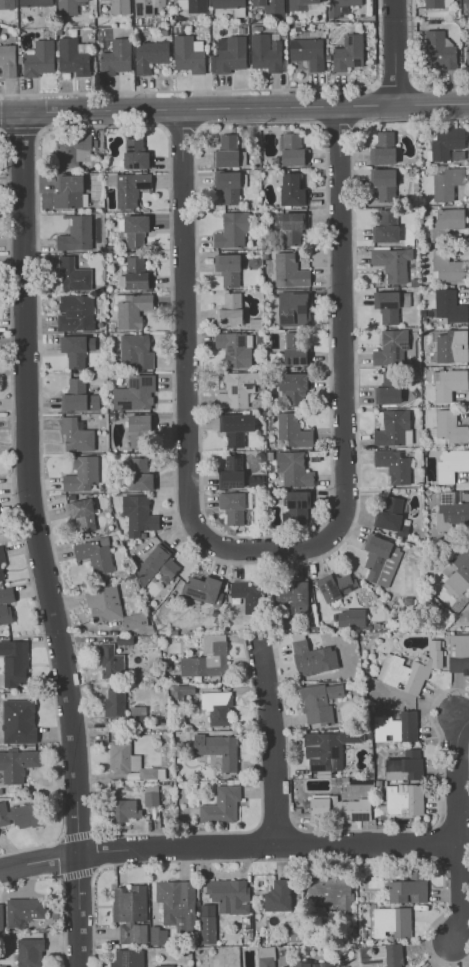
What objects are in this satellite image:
building: (465, 1)
building: (34, 2)
building: (227, 3)
building: (438, 3)
building: (6, 4)
building: (190, 5)
building: (269, 5)
building: (299, 5)
building: (119, 6)
building: (146, 6)
building: (340, 6)
building: (67, 7)
building: (468, 48)
building: (439, 51)
building: (265, 52)
building: (307, 52)
building: (348, 52)
building: (188, 53)
road: (394, 53)
building: (228, 54)
building: (72, 55)
building: (149, 55)
building: (117, 56)
building: (39, 58)
building: (7, 60)
road: (411, 68)
road: (234, 108)
building: (446, 142)
building: (292, 148)
building: (383, 148)
building: (72, 150)
building: (226, 151)
building: (135, 153)
building: (383, 183)
building: (446, 183)
building: (227, 186)
building: (127, 187)
building: (291, 189)
building: (69, 191)
building: (445, 221)
building: (386, 226)
building: (287, 227)
building: (232, 229)
building: (135, 230)
building: (76, 234)
building: (392, 262)
building: (446, 267)
building: (228, 269)
building: (289, 270)
building: (135, 273)
building: (73, 274)
building: (448, 305)
building: (387, 306)
building: (292, 308)
building: (132, 309)
building: (229, 310)
building: (75, 312)
road: (342, 322)
building: (451, 345)
building: (295, 347)
building: (391, 347)
building: (235, 348)
building: (76, 349)
building: (135, 351)
building: (448, 383)
building: (237, 388)
building: (291, 388)
building: (387, 388)
building: (134, 393)
building: (78, 396)
road: (188, 397)
building: (236, 427)
building: (449, 427)
building: (393, 428)
building: (139, 430)
building: (293, 430)
building: (76, 434)
building: (452, 463)
building: (393, 465)
building: (293, 468)
building: (231, 472)
building: (81, 473)
building: (139, 474)
building: (234, 505)
building: (296, 508)
building: (450, 510)
building: (81, 513)
building: (138, 513)
building: (390, 515)
road: (44, 540)
building: (94, 554)
building: (1, 555)
building: (380, 559)
building: (157, 563)
building: (458, 573)
building: (1, 574)
building: (335, 585)
building: (203, 589)
building: (248, 595)
building: (291, 596)
building: (103, 603)
building: (5, 604)
building: (350, 617)
building: (135, 620)
building: (458, 653)
building: (207, 657)
building: (311, 657)
building: (14, 661)
building: (110, 661)
building: (410, 668)
building: (319, 701)
building: (114, 702)
building: (216, 707)
building: (18, 721)
building: (396, 726)
road: (274, 745)
building: (218, 749)
building: (327, 749)
building: (129, 761)
building: (17, 764)
building: (404, 766)
road: (456, 778)
building: (404, 799)
building: (221, 804)
building: (341, 808)
building: (124, 810)
building: (20, 815)
road: (76, 835)
road: (226, 844)
road: (76, 874)
building: (409, 888)
building: (328, 891)
road: (458, 891)
road: (63, 892)
building: (229, 895)
building: (277, 896)
building: (129, 903)
building: (177, 903)
building: (23, 910)
building: (0, 916)
building: (391, 921)
building: (207, 923)
building: (132, 932)
building: (157, 935)
building: (29, 952)
building: (393, 955)
building: (265, 956)
building: (127, 958)
building: (315, 964)
building: (164, 965)
building: (2, 966)

